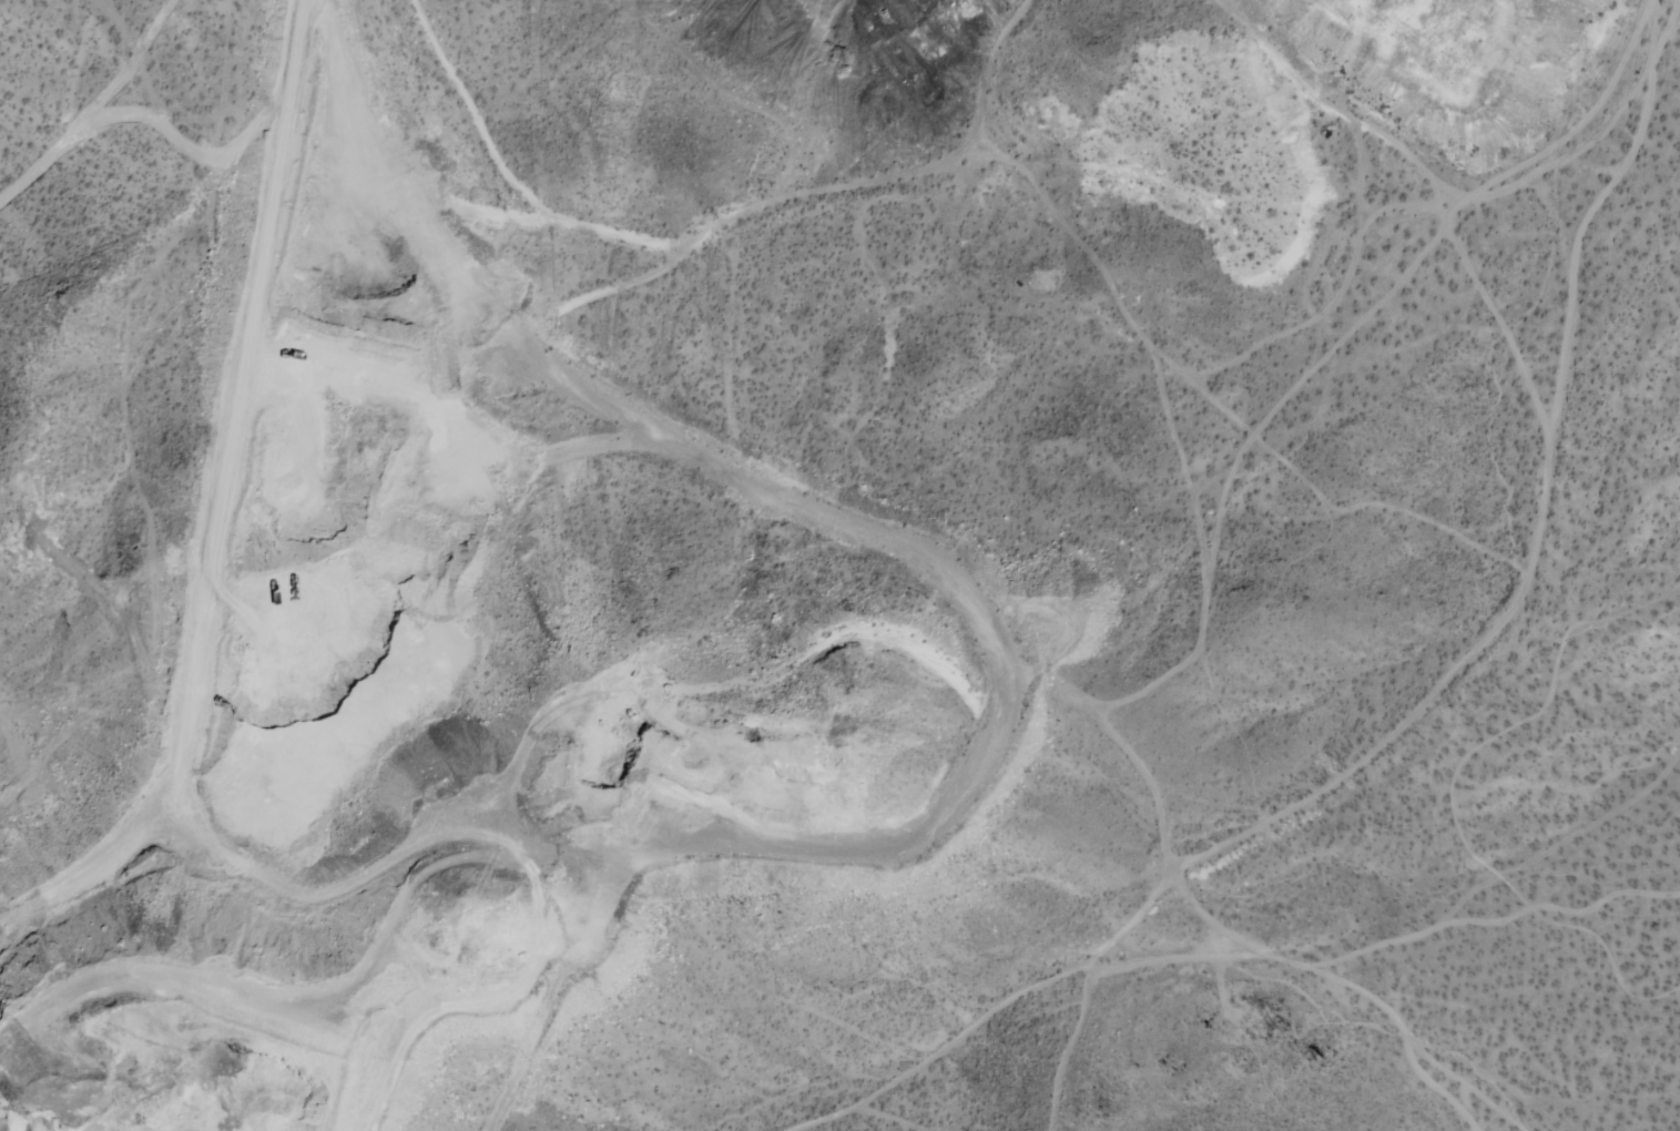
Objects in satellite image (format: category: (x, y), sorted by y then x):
quarry: (528, 472)

